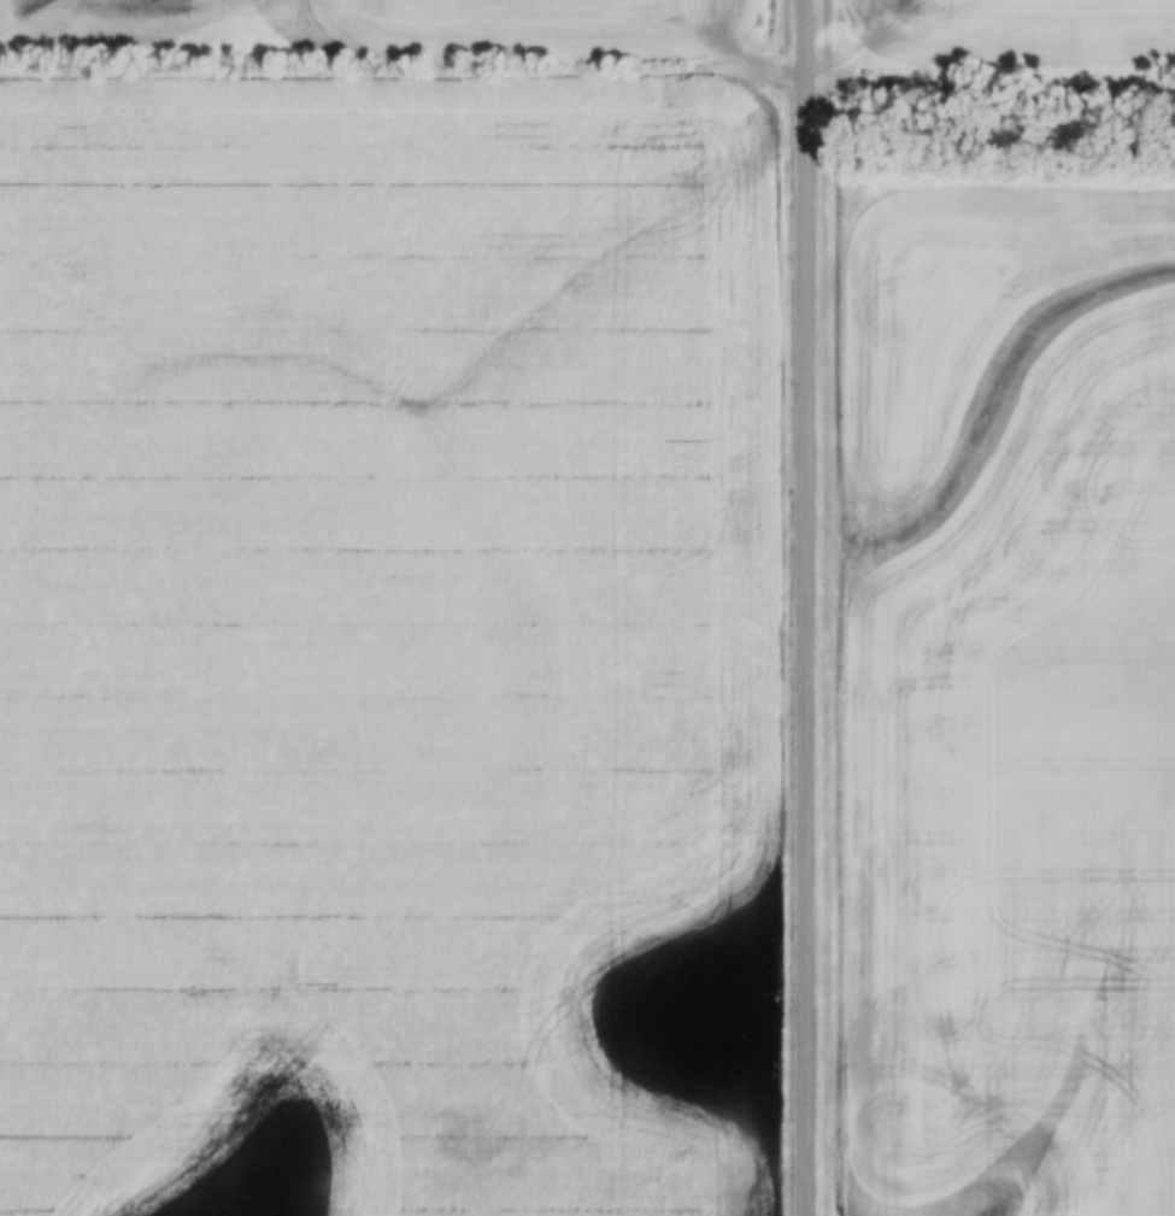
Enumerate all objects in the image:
road: (806, 607)

